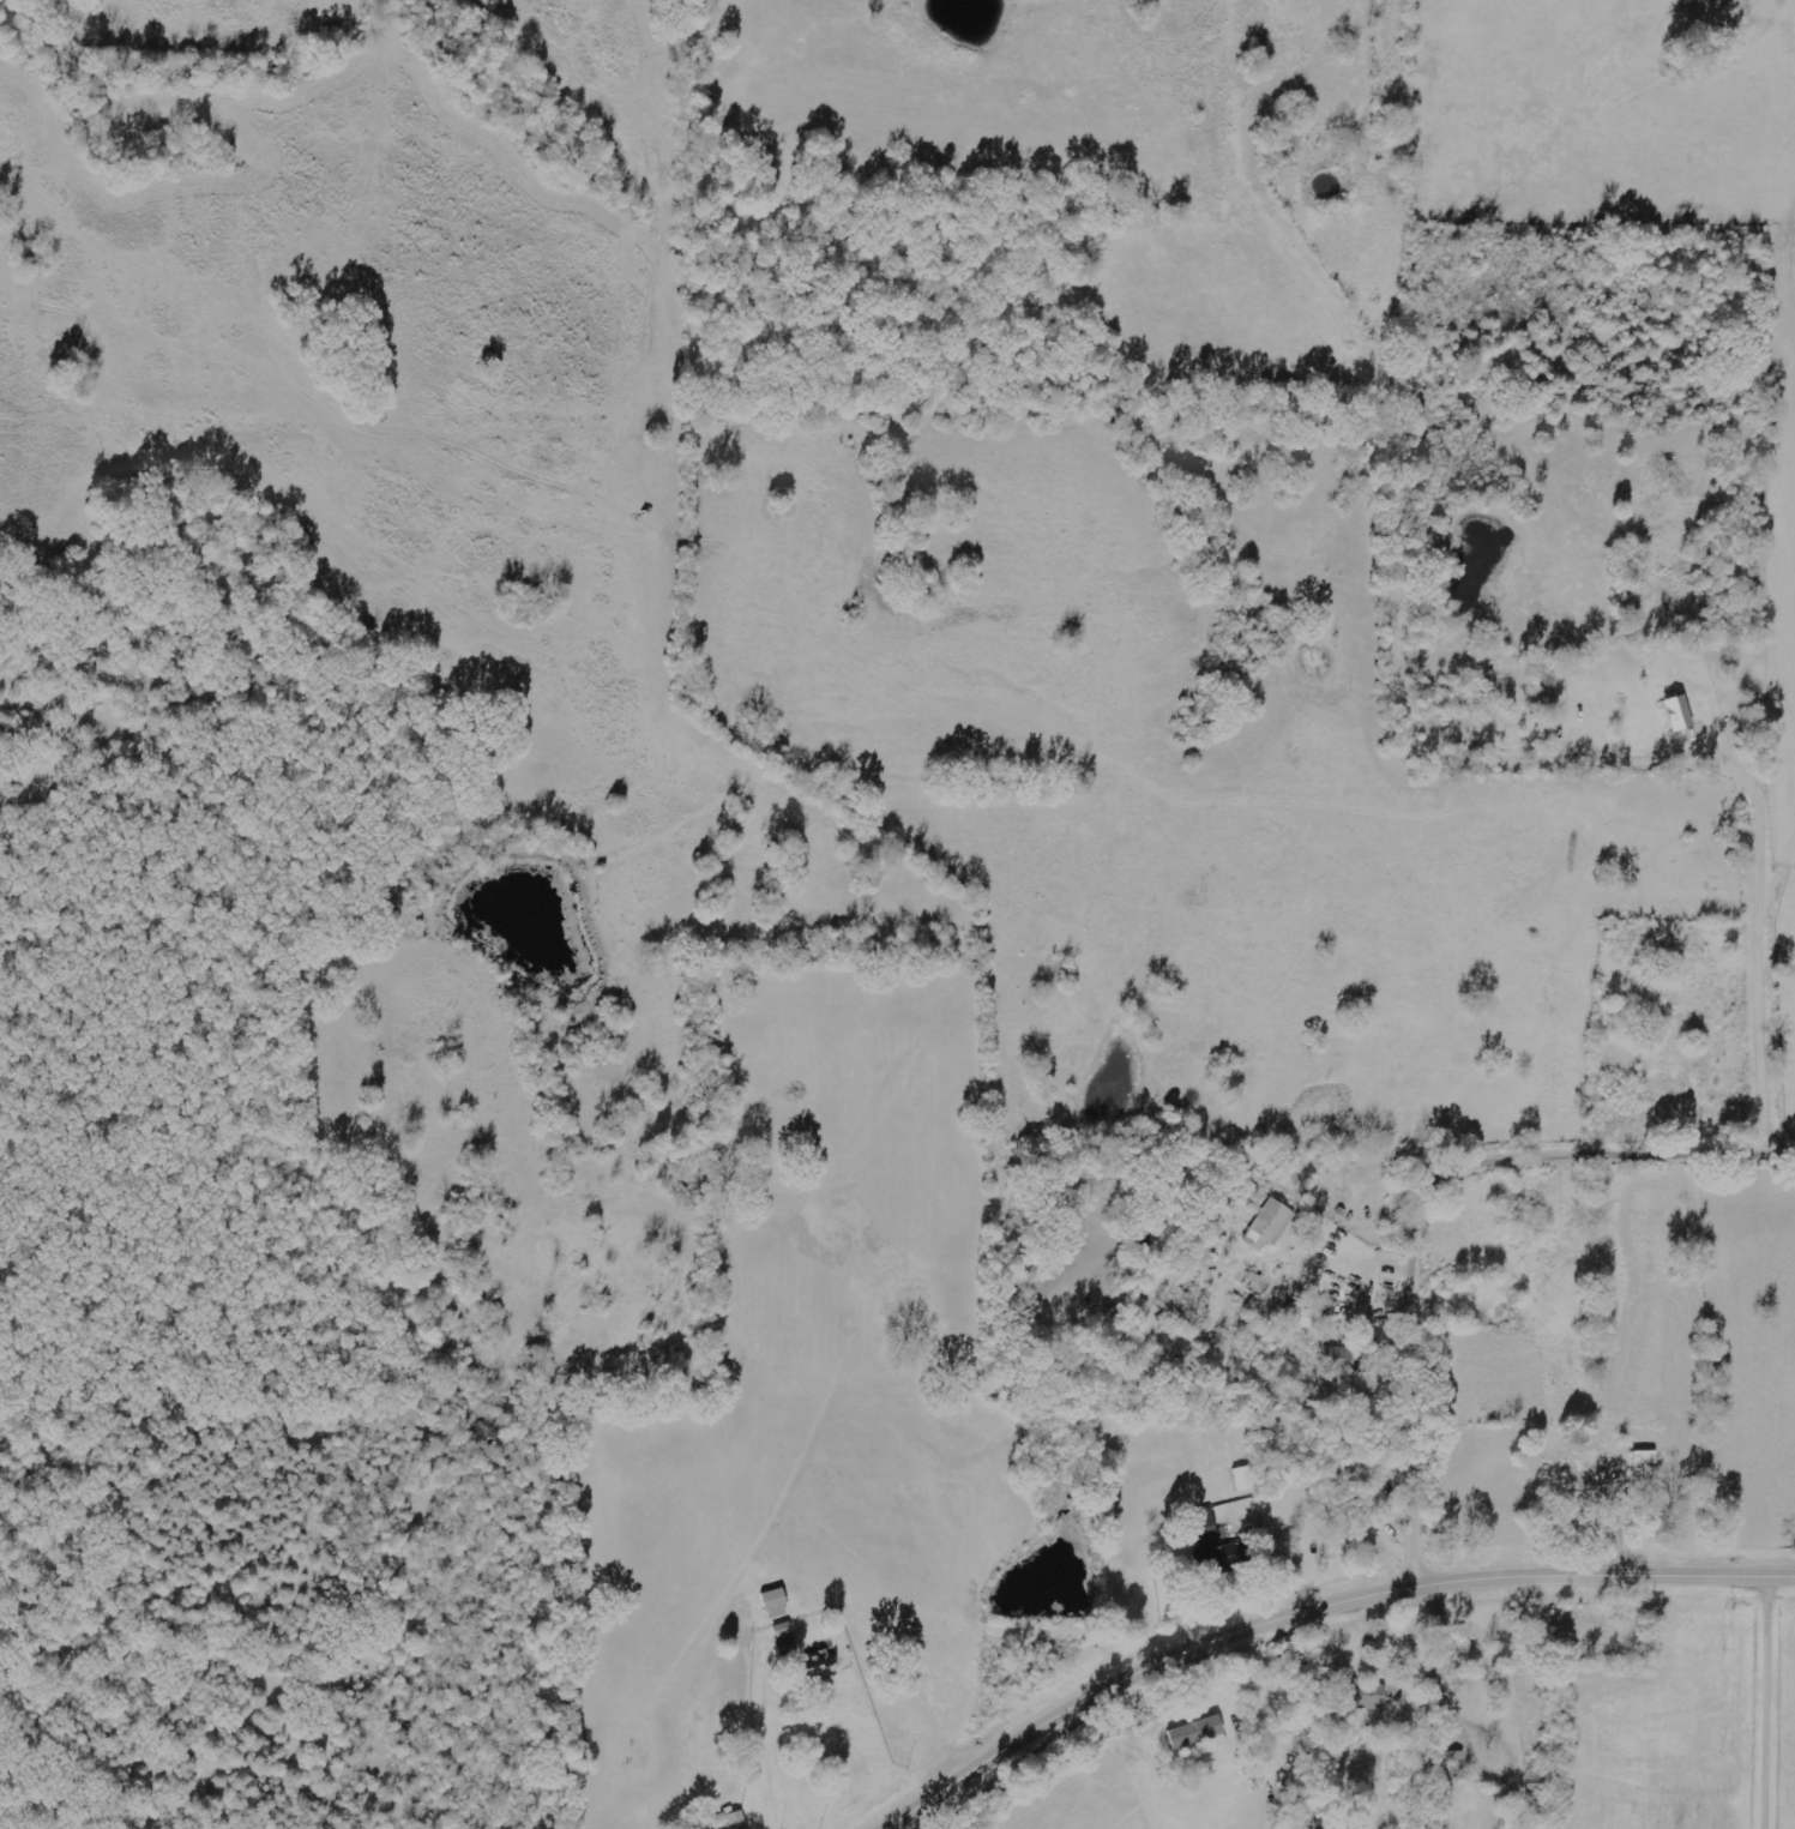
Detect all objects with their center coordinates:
building: (1674, 712)
road: (1441, 1208)
building: (1266, 1226)
building: (1301, 1318)
building: (1336, 1359)
building: (1570, 1470)
building: (1643, 1470)
building: (1242, 1479)
building: (1348, 1521)
building: (1203, 1527)
building: (777, 1604)
road: (1312, 1605)
road: (548, 1638)
building: (821, 1665)
road: (1759, 1679)
building: (1359, 1695)
road: (1426, 1701)
building: (1193, 1732)

